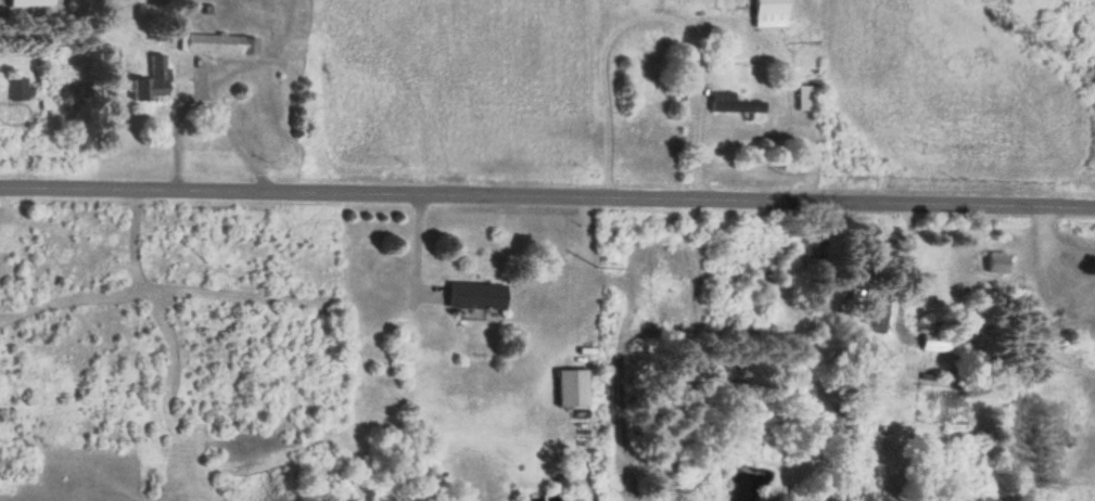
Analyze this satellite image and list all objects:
building: (28, 2)
building: (768, 13)
building: (217, 43)
building: (152, 81)
building: (16, 89)
building: (805, 97)
building: (731, 102)
road: (547, 197)
building: (996, 260)
building: (475, 293)
building: (875, 309)
building: (934, 342)
building: (572, 386)

